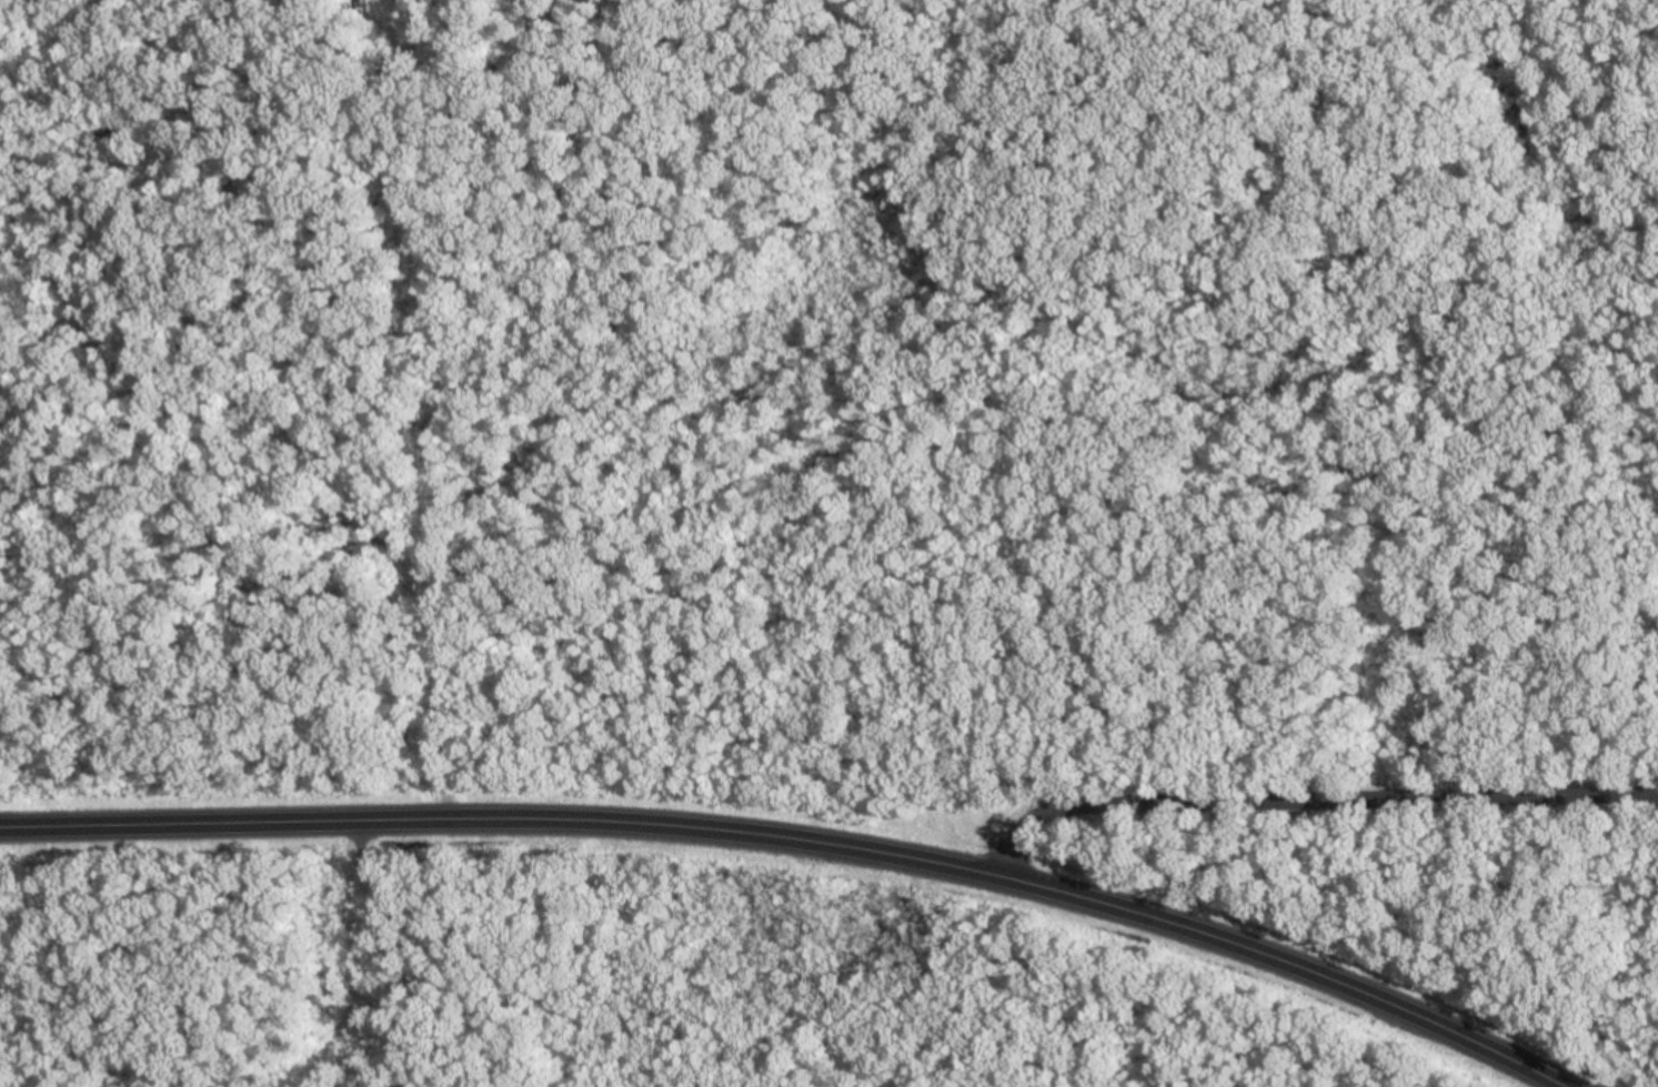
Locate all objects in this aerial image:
road: (1310, 798)
road: (807, 836)

